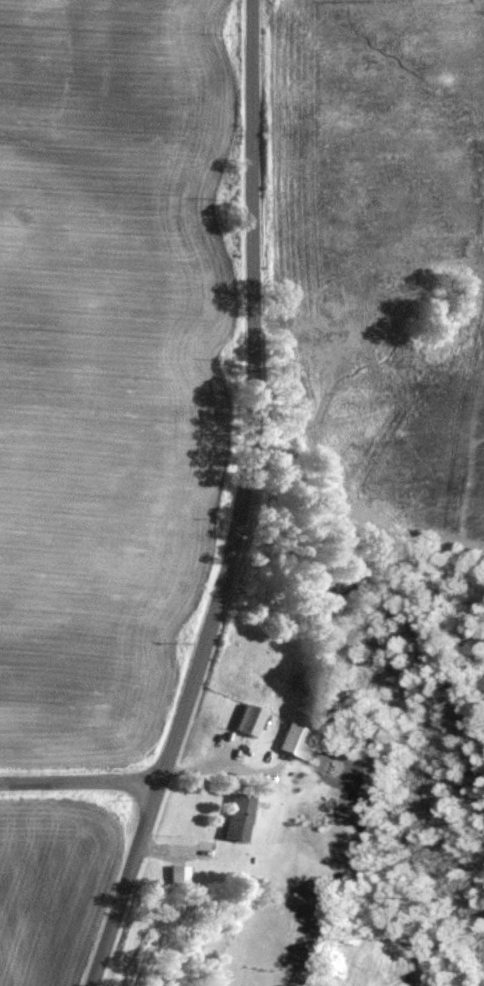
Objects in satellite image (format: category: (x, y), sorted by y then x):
crop: (105, 357)
road: (240, 504)
building: (249, 718)
building: (299, 739)
road: (79, 781)
building: (239, 814)
building: (178, 872)

